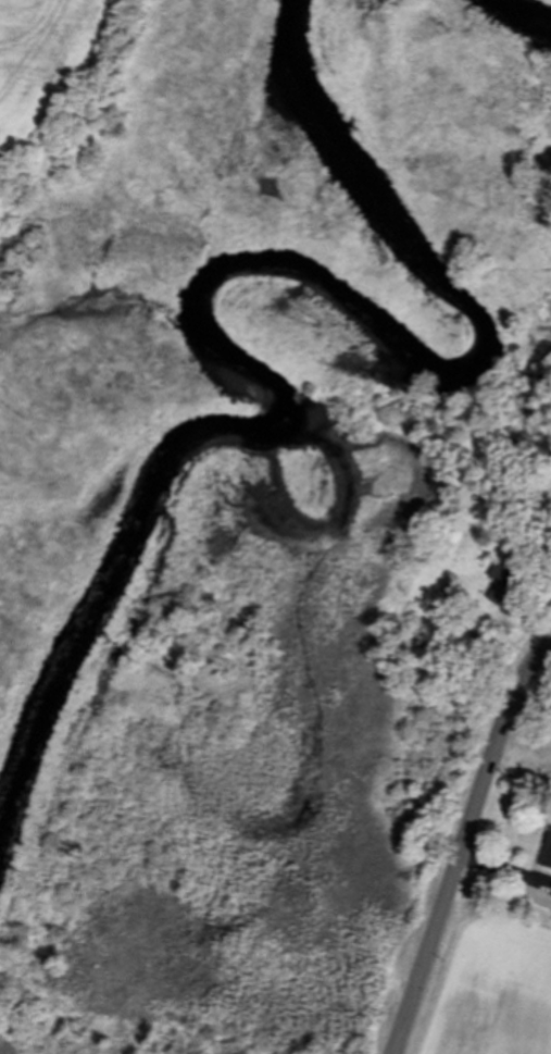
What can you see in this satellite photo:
river: (537, 8)
river: (222, 287)
road: (462, 841)
building: (548, 855)

